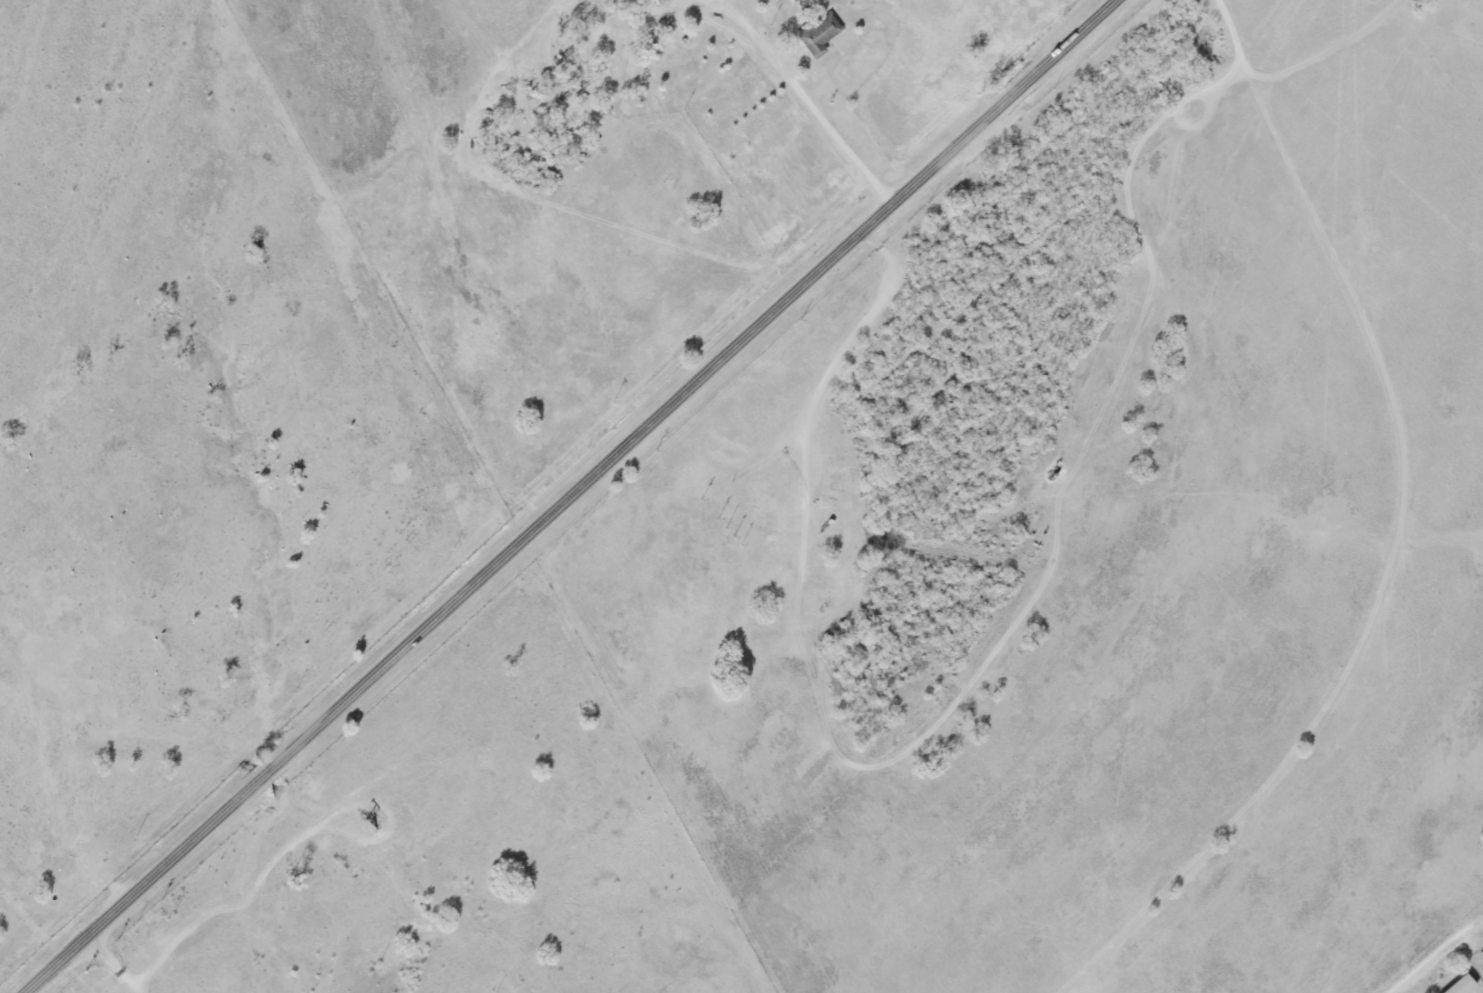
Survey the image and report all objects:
building: (660, 2)
building: (818, 33)
road: (808, 97)
road: (573, 494)
road: (1436, 953)
building: (1461, 986)

